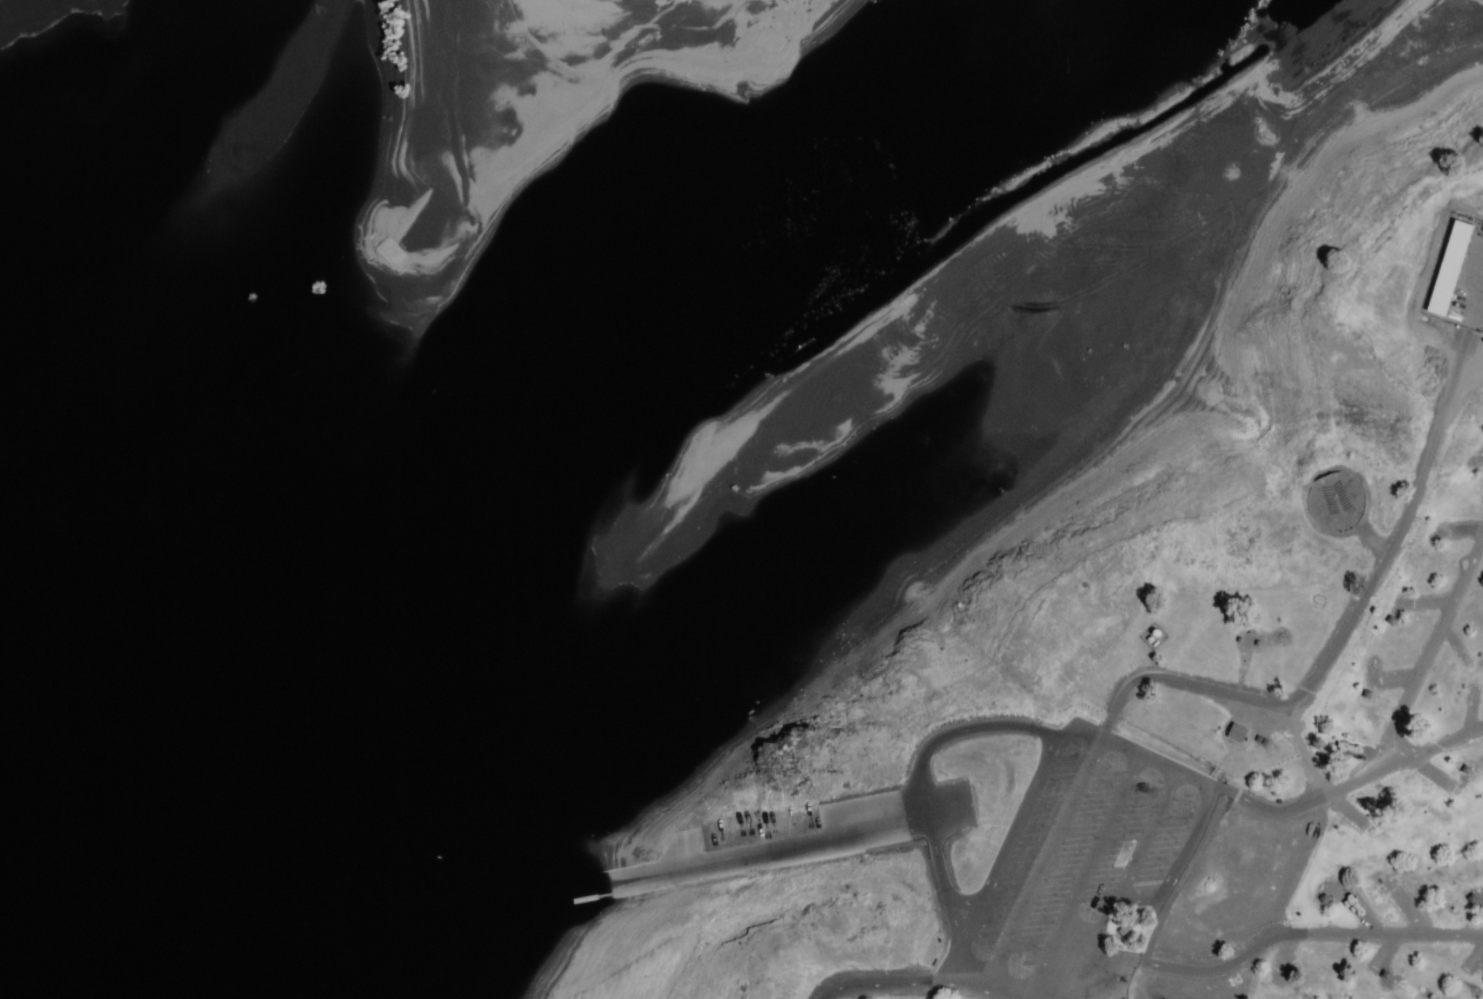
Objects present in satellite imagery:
building: (1448, 269)
building: (1236, 733)

